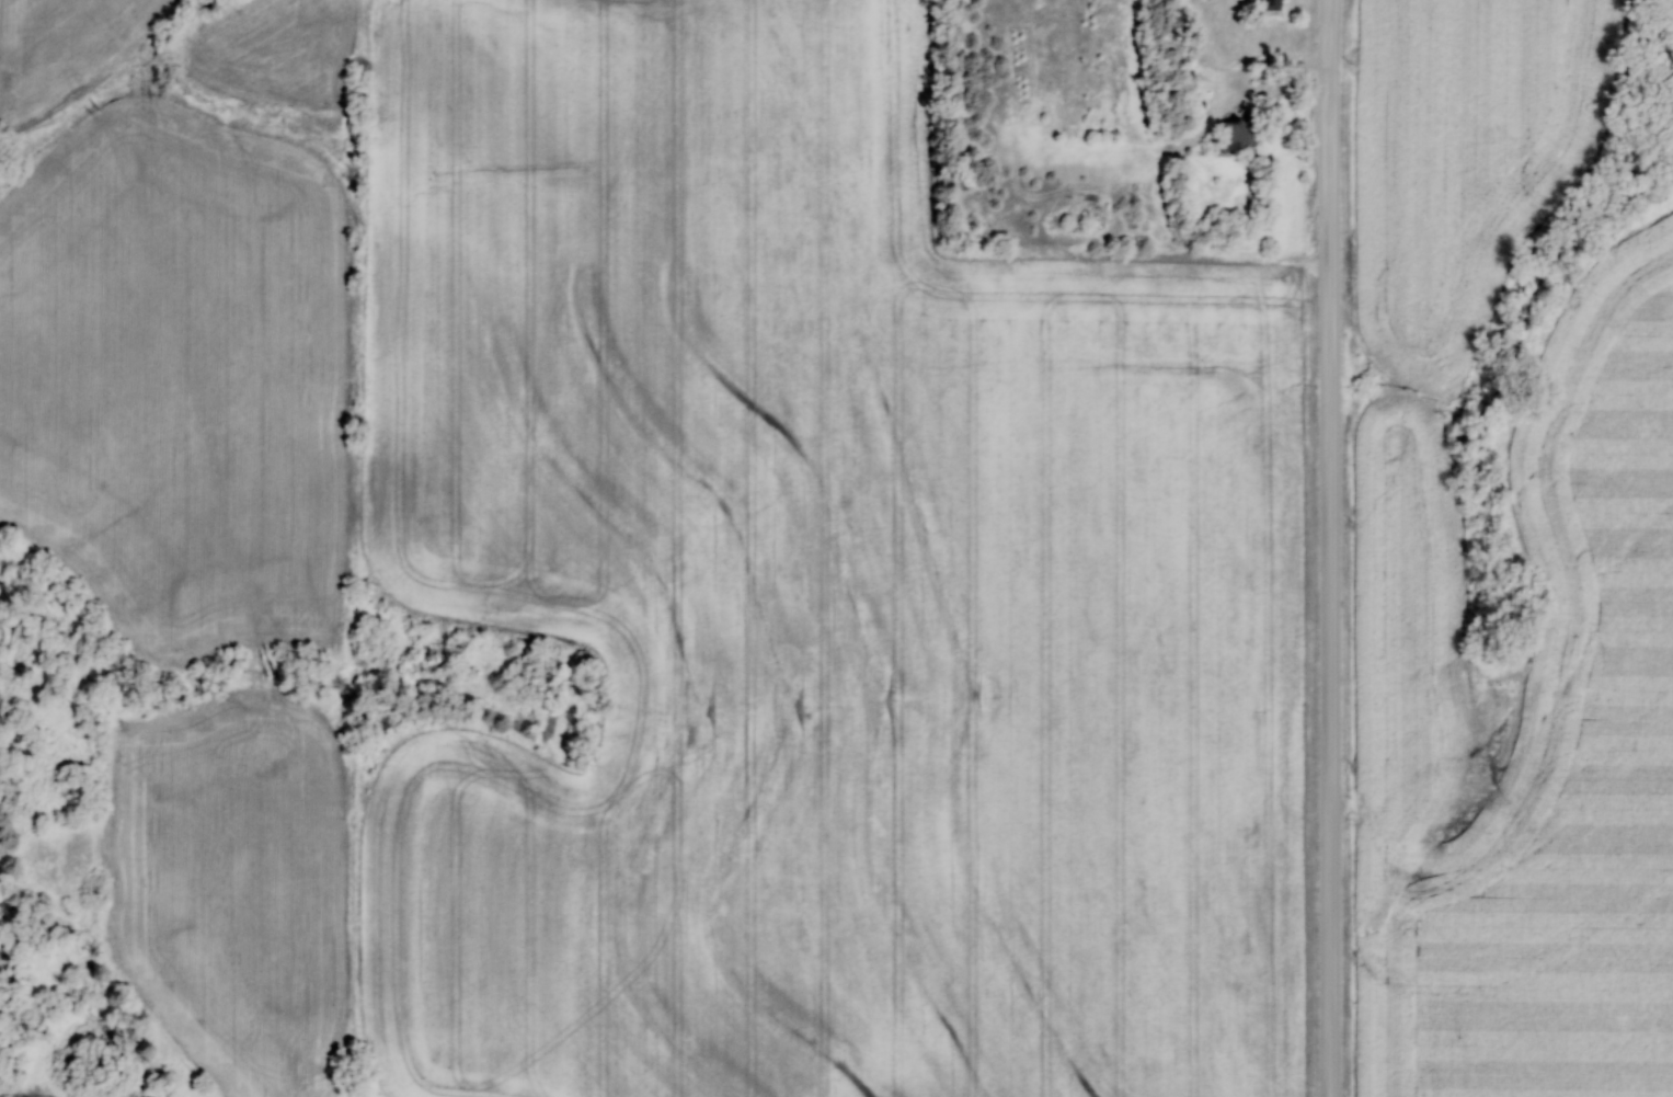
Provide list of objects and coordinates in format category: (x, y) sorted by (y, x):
building: (1269, 5)
road: (1326, 33)
building: (1237, 135)
road: (1327, 548)

